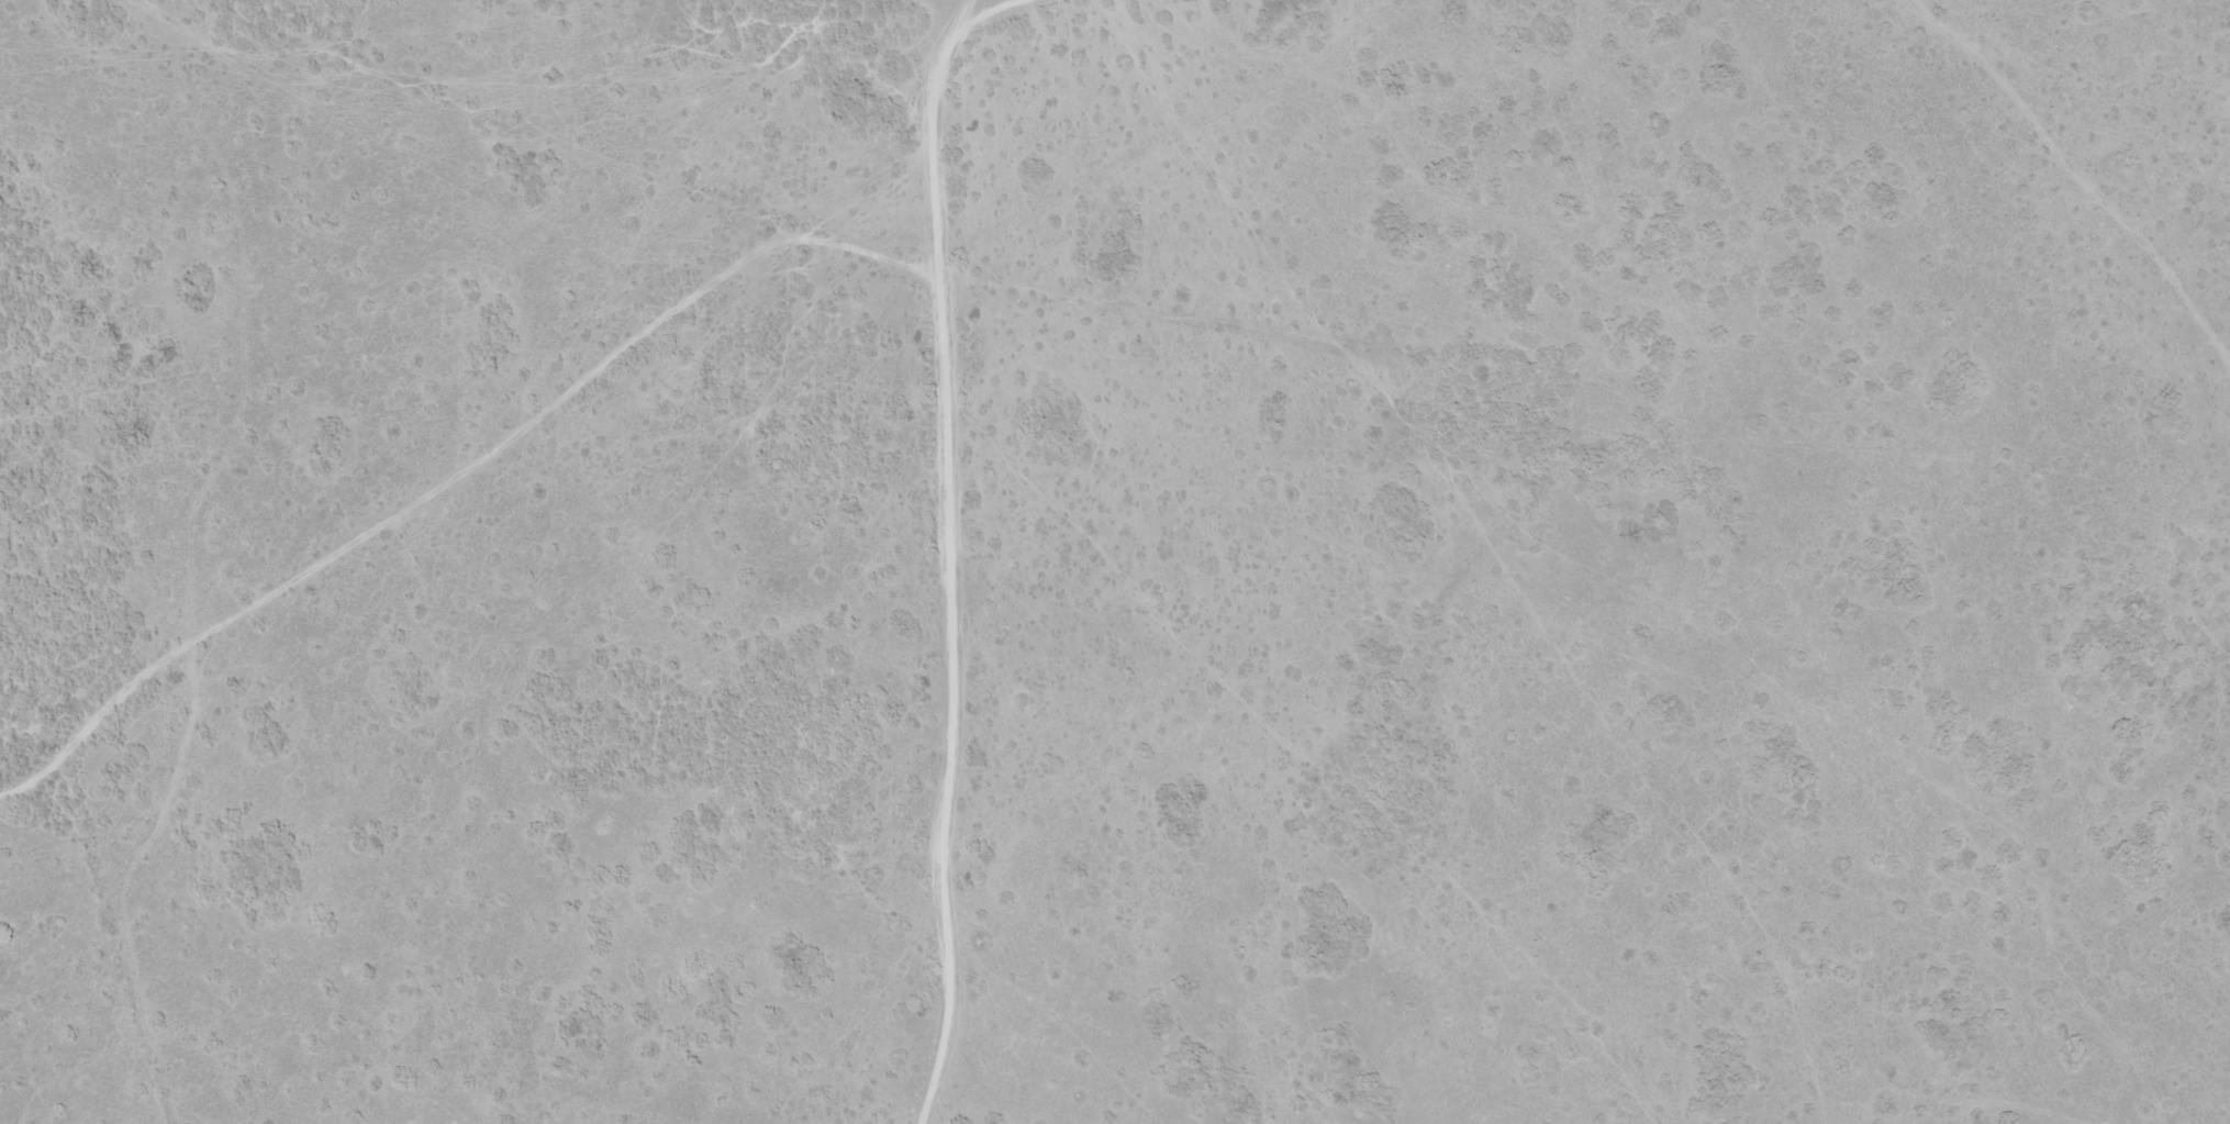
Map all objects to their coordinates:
road: (925, 53)
road: (958, 488)

